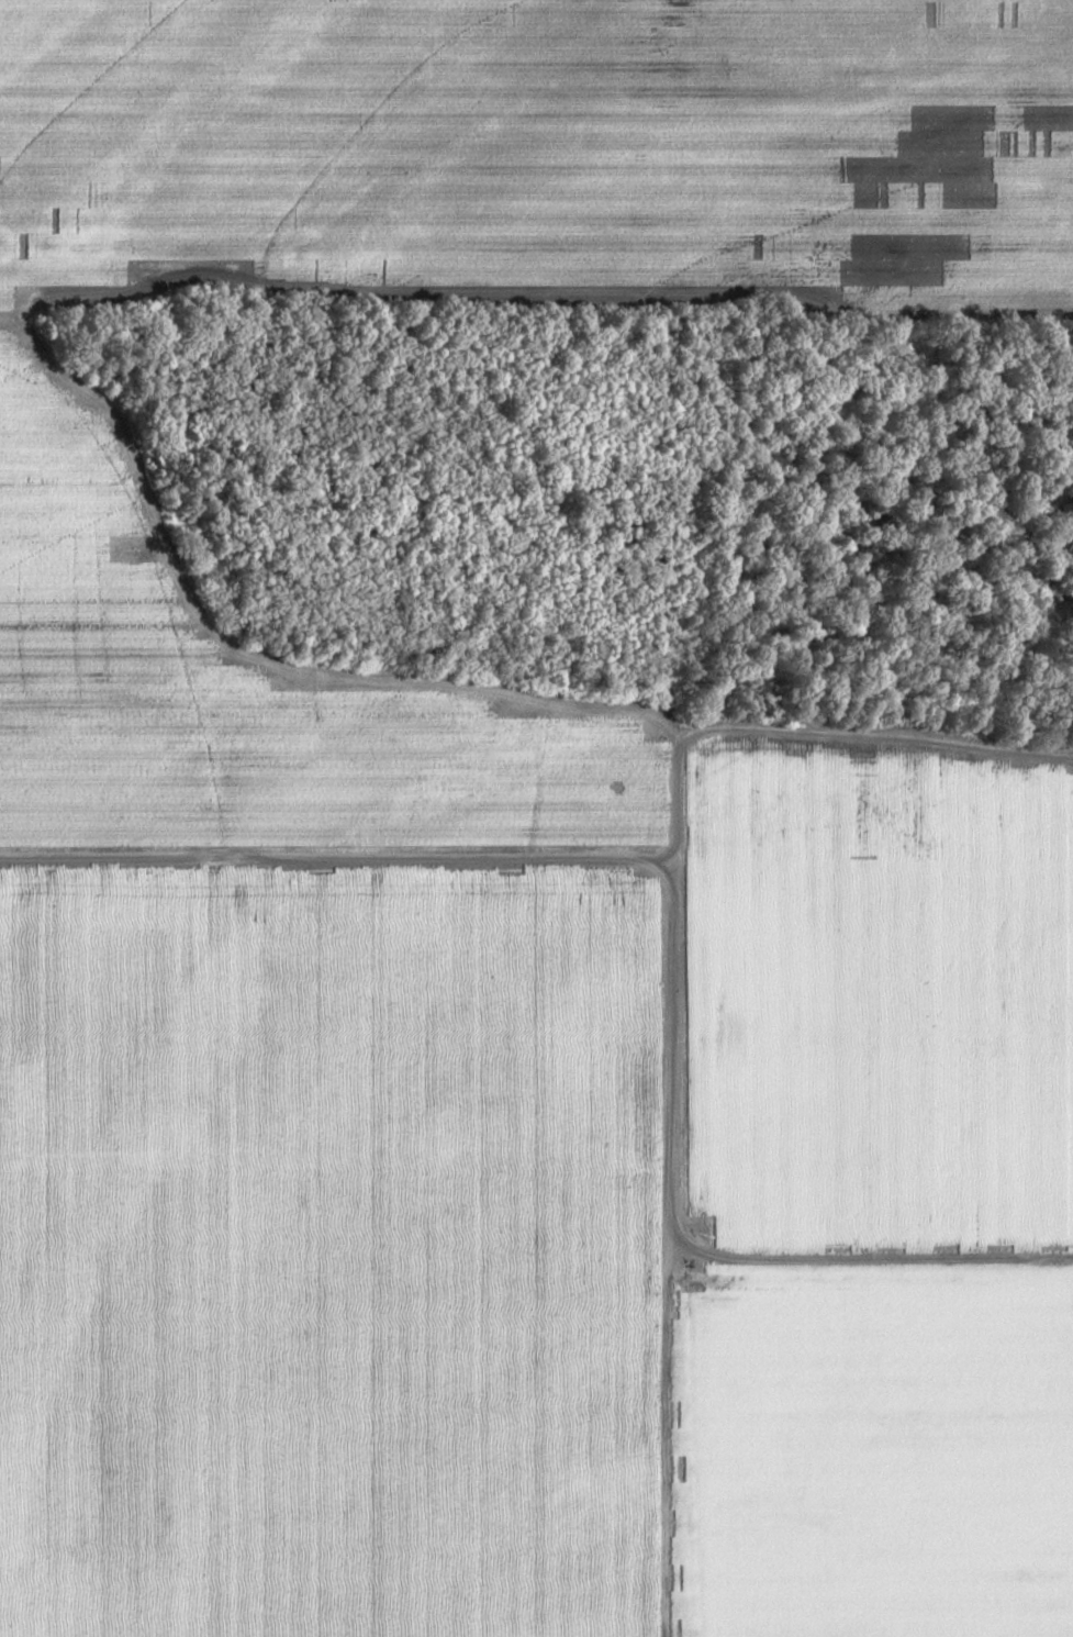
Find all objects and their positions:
road: (448, 681)
road: (396, 868)

